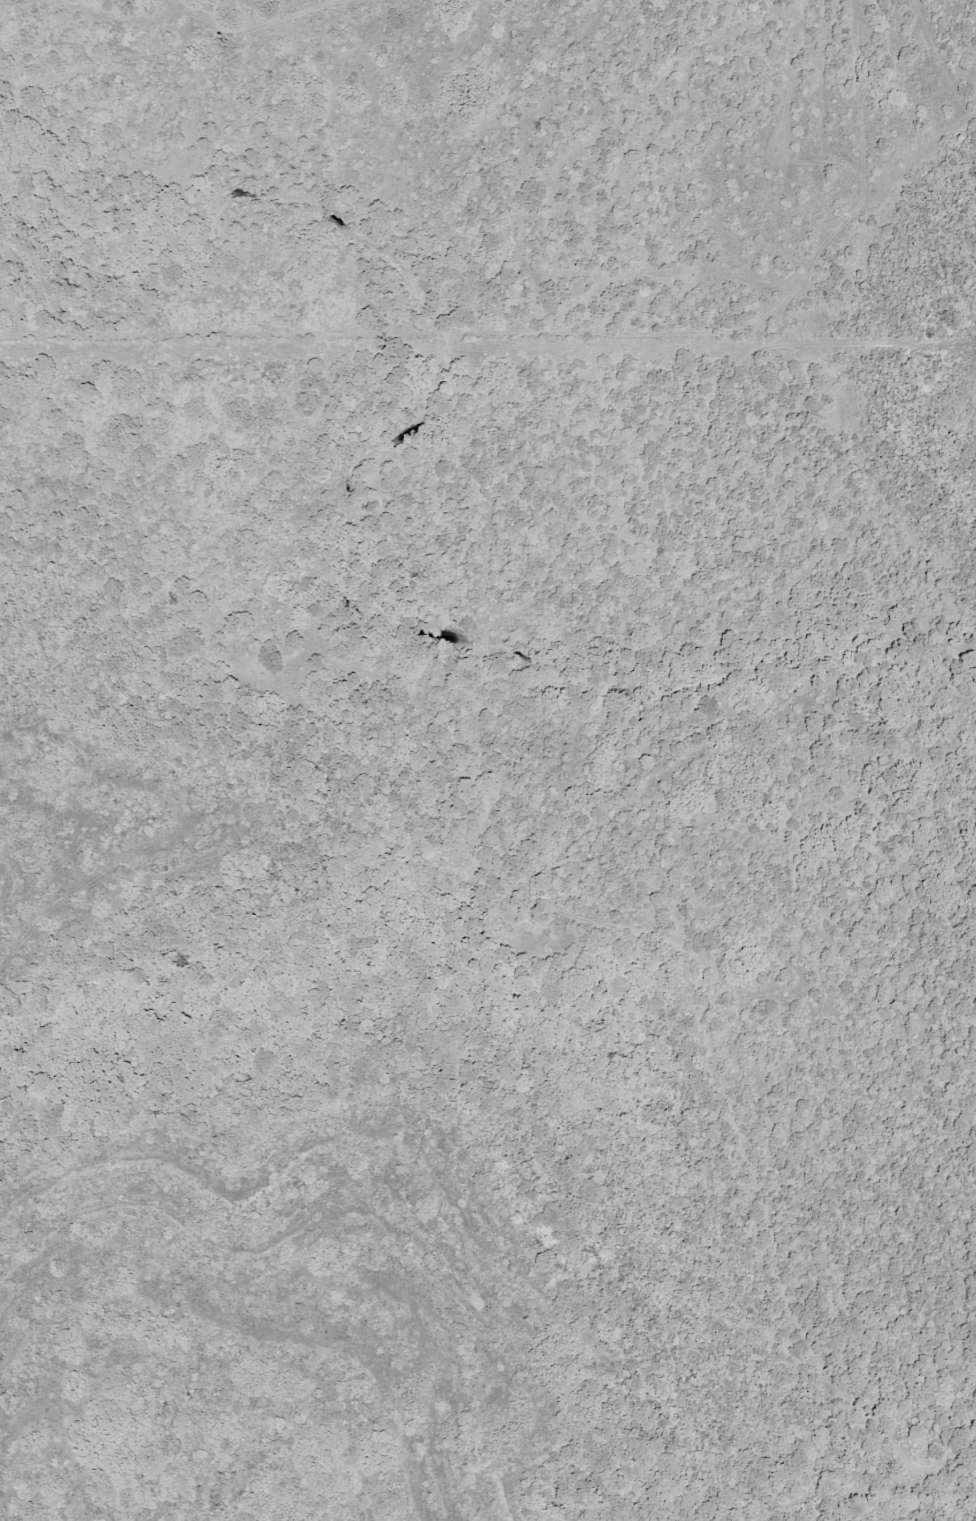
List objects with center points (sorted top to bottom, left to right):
road: (599, 936)
road: (919, 1499)

